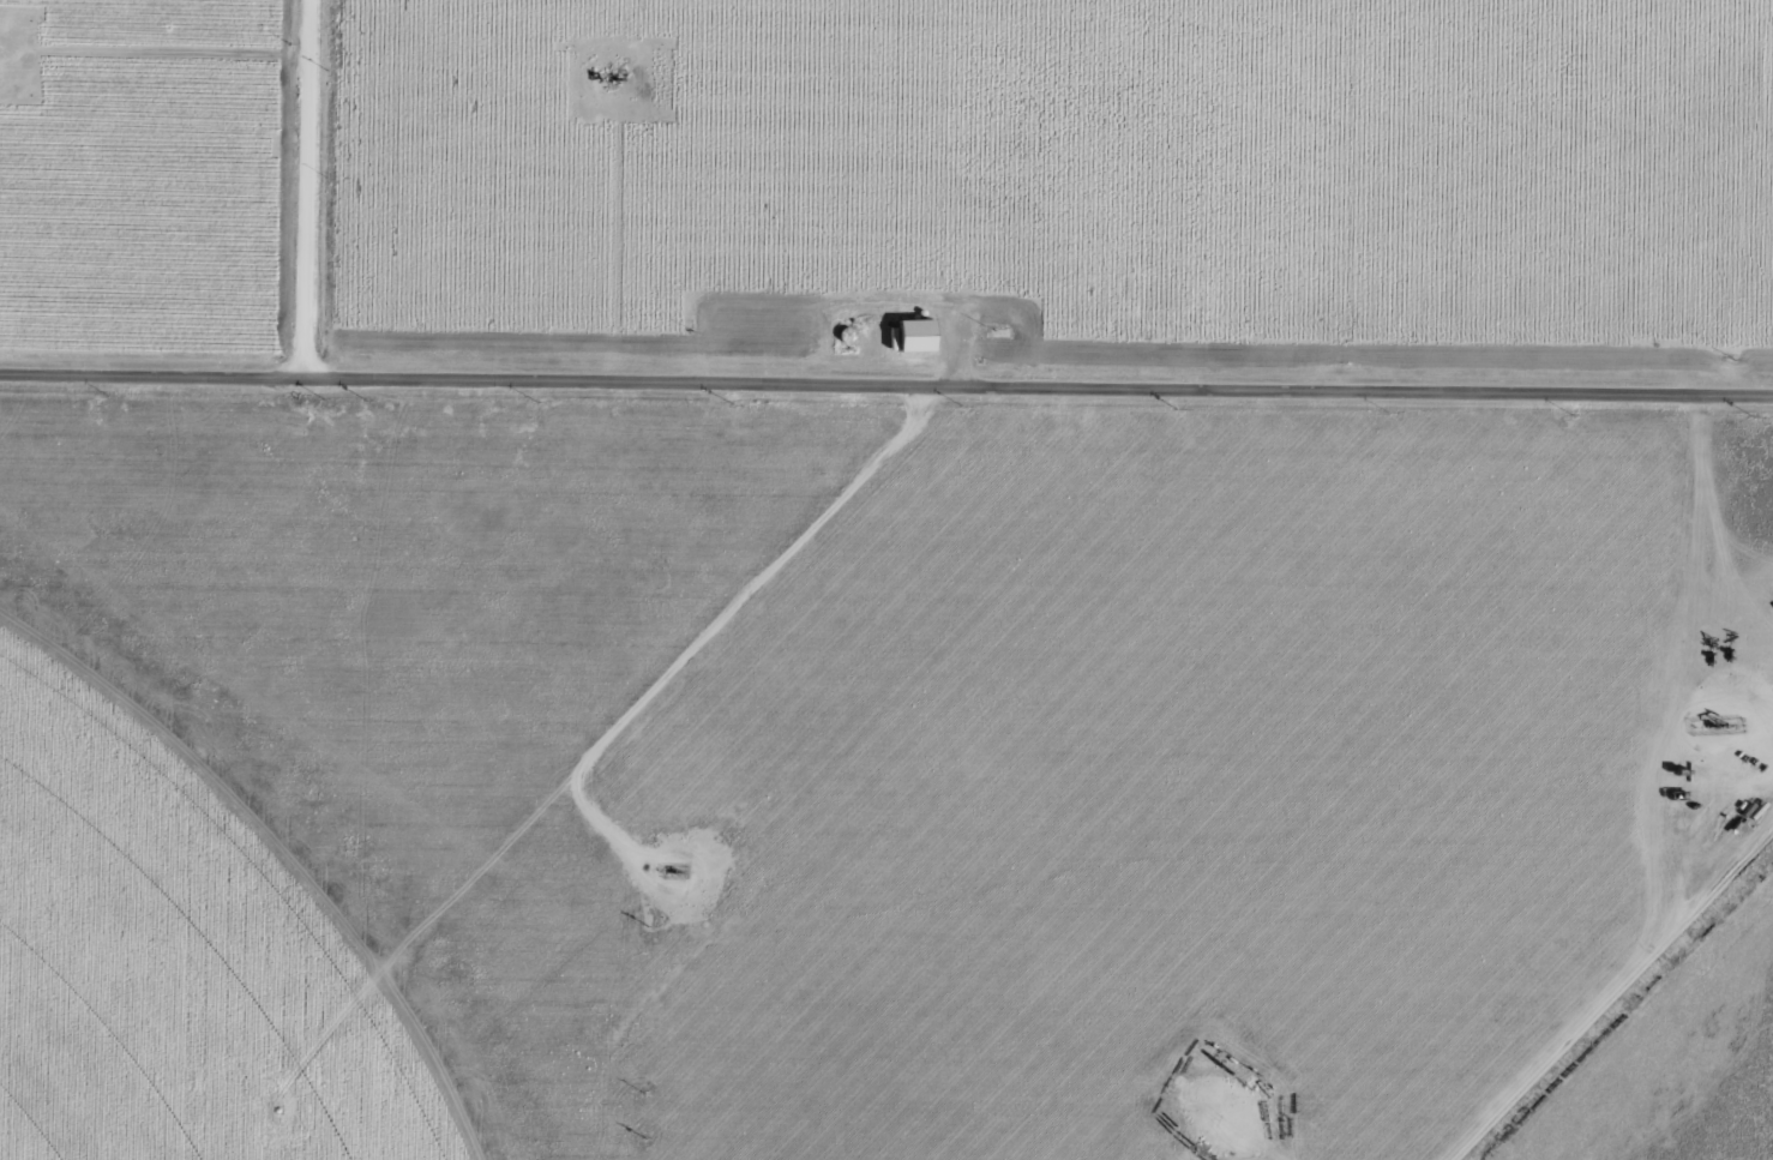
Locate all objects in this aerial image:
road: (323, 192)
road: (886, 392)
petroleum well: (1715, 729)
petroleum well: (675, 876)
road: (1631, 1003)

